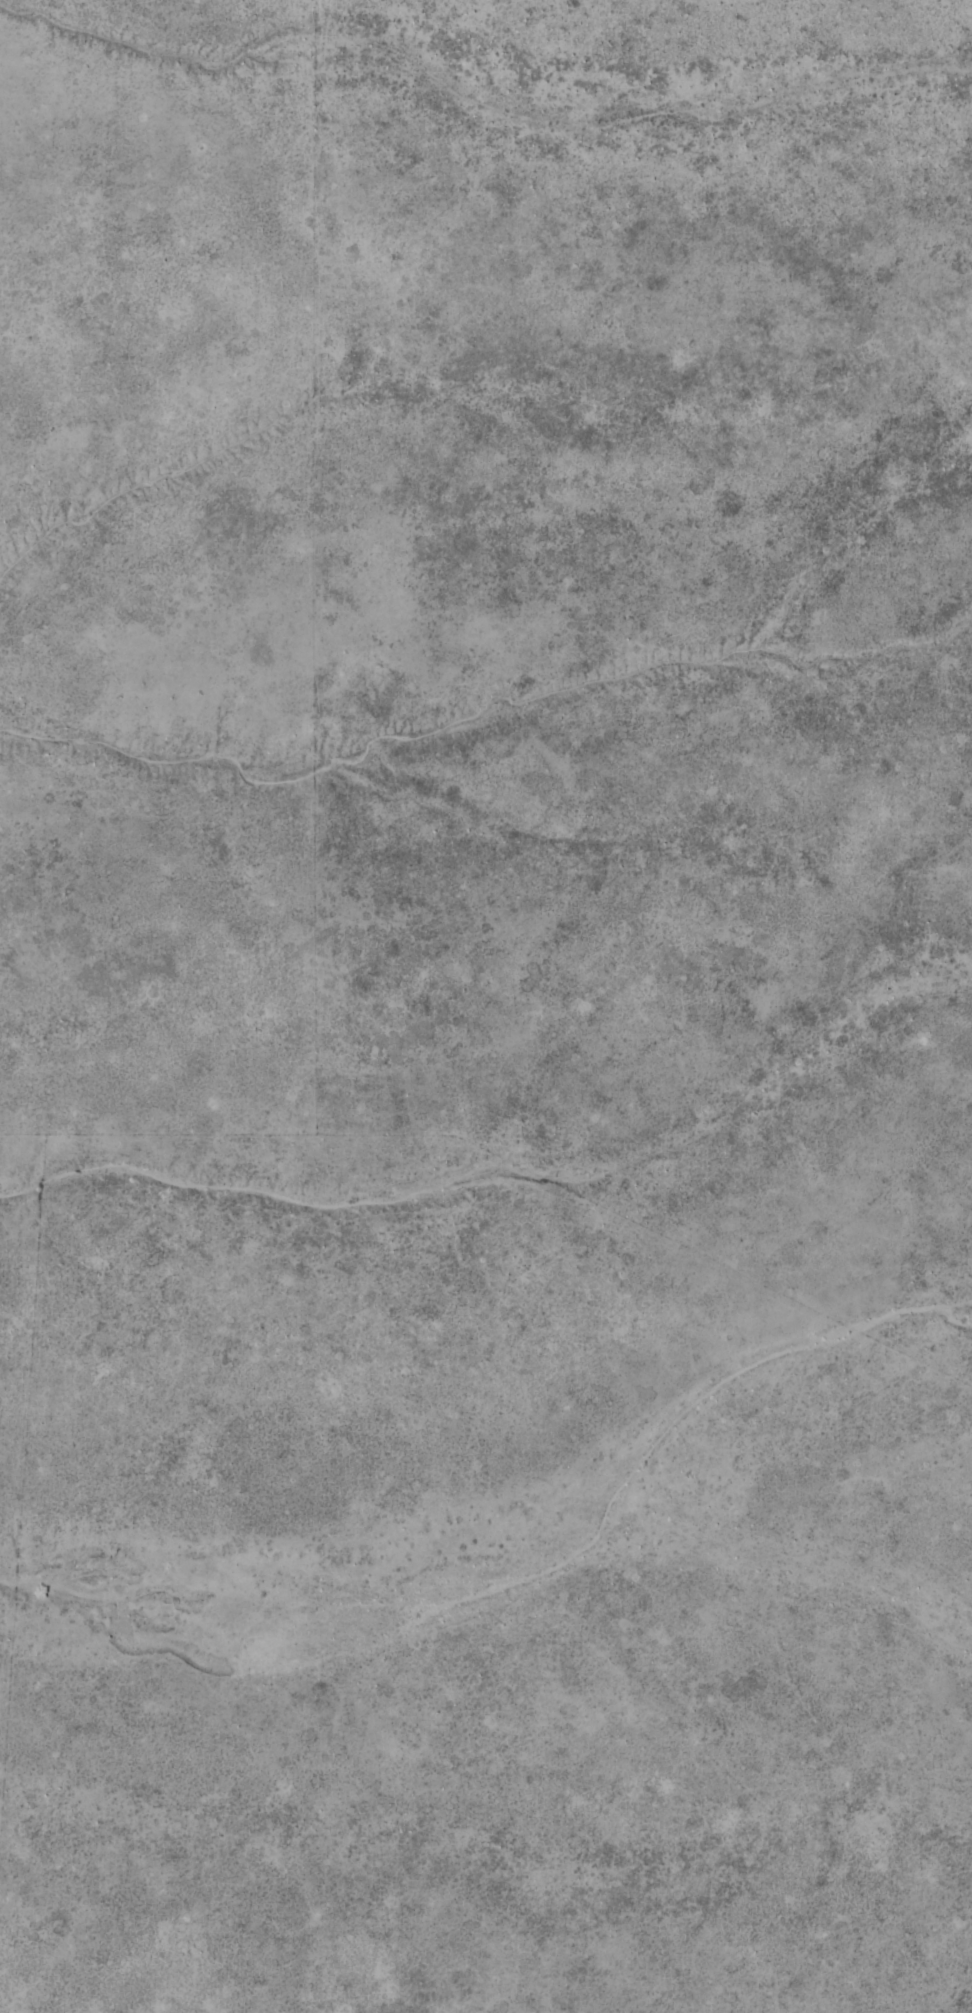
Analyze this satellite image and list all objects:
road: (118, 1977)
road: (949, 2006)

